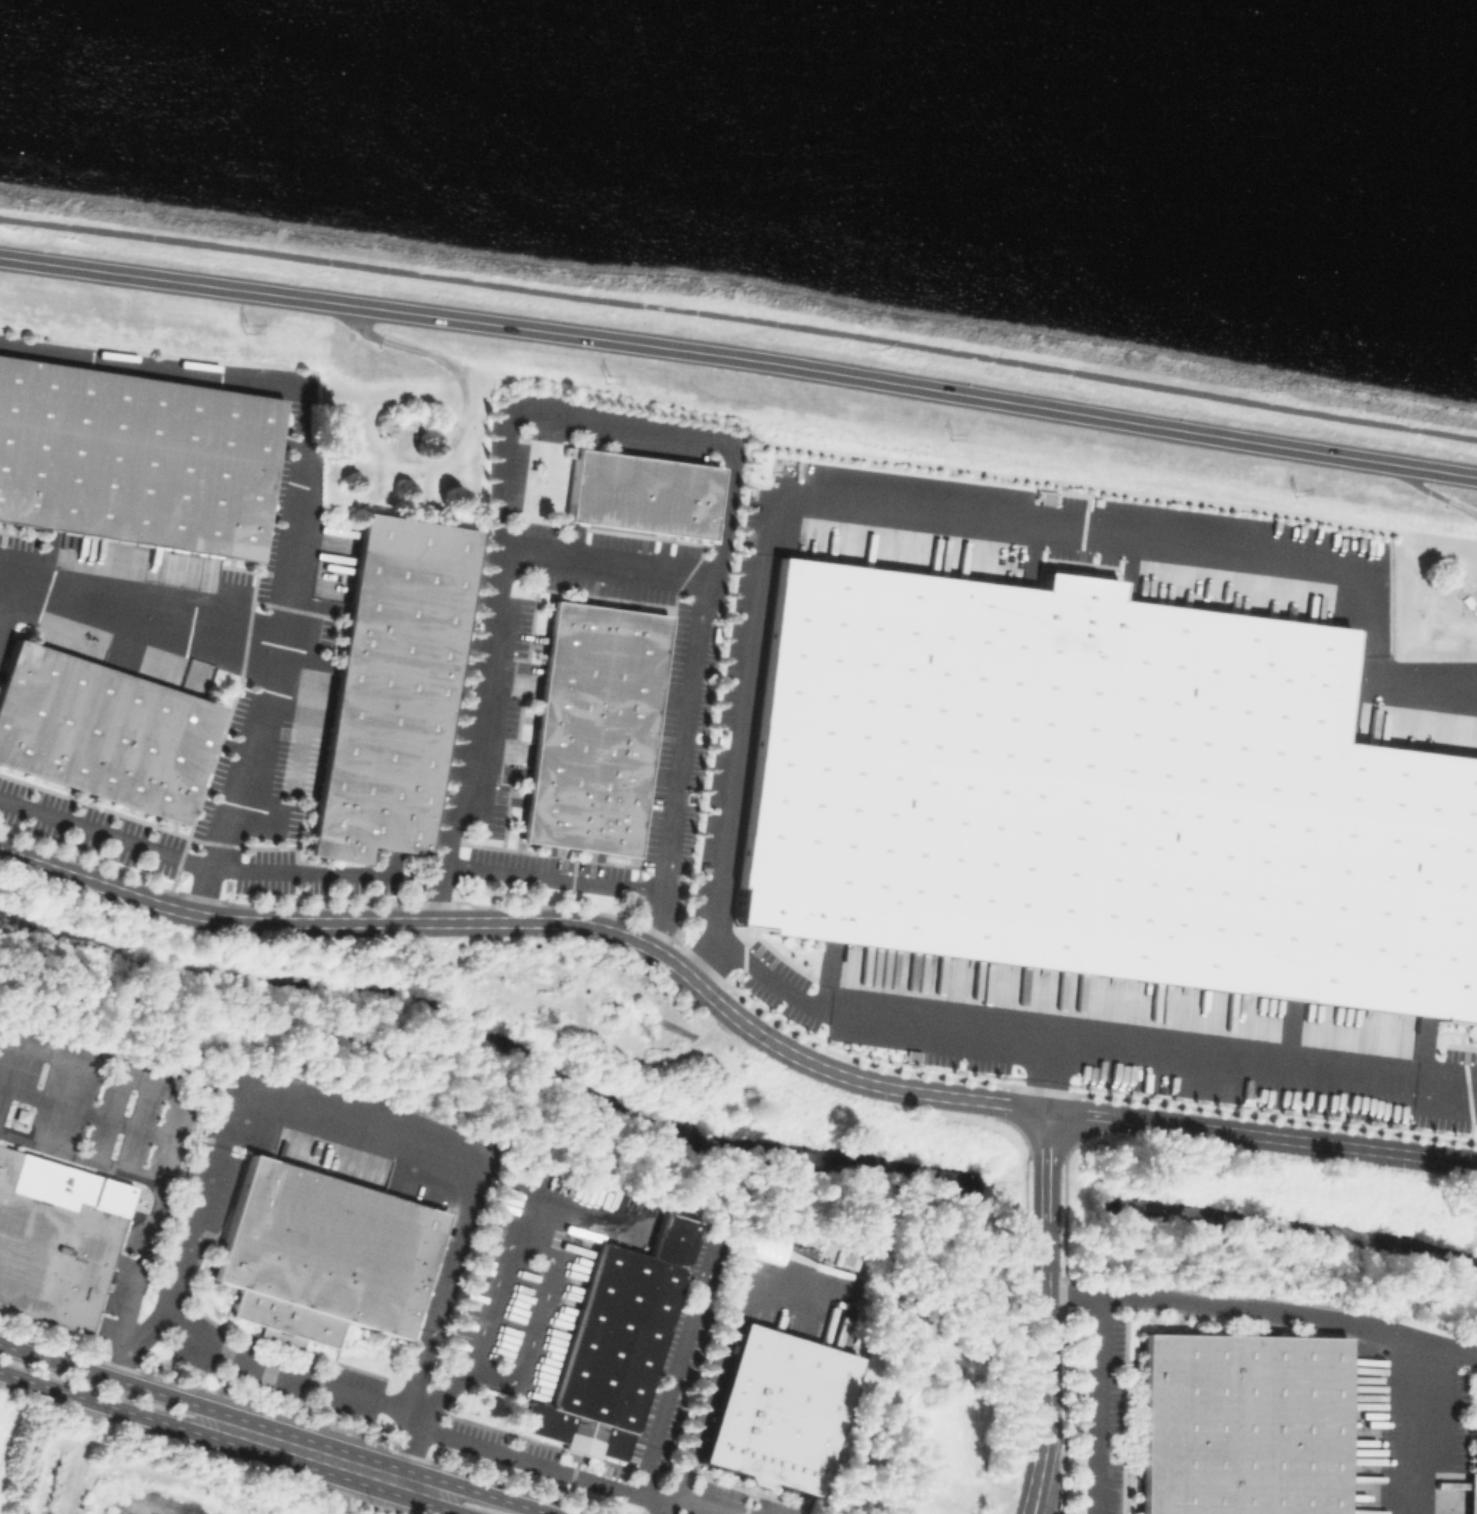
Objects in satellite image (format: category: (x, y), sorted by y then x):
road: (739, 318)
road: (739, 358)
road: (280, 383)
road: (622, 426)
building: (133, 456)
building: (641, 491)
building: (1046, 496)
road: (1084, 534)
road: (610, 564)
road: (8, 611)
road: (271, 641)
road: (1414, 681)
building: (389, 685)
building: (594, 726)
building: (100, 731)
road: (739, 752)
building: (1103, 793)
road: (195, 860)
road: (559, 880)
road: (541, 922)
road: (758, 968)
road: (1124, 1053)
road: (1045, 1075)
road: (1448, 1098)
road: (88, 1111)
road: (1095, 1114)
road: (181, 1121)
road: (1174, 1124)
road: (1340, 1145)
road: (81, 1160)
road: (462, 1160)
road: (1045, 1167)
road: (194, 1229)
building: (327, 1246)
road: (1045, 1248)
building: (52, 1253)
road: (1045, 1283)
road: (1228, 1305)
building: (287, 1318)
road: (726, 1337)
building: (627, 1347)
road: (677, 1374)
road: (108, 1378)
road: (1408, 1391)
road: (1045, 1396)
road: (443, 1402)
road: (1095, 1403)
road: (104, 1404)
road: (1447, 1408)
building: (778, 1410)
road: (389, 1412)
building: (1242, 1424)
road: (415, 1453)
road: (321, 1457)
road: (82, 1463)
building: (1474, 1478)
road: (341, 1489)
road: (492, 1496)
road: (446, 1503)
road: (1030, 1505)
road: (666, 1509)

